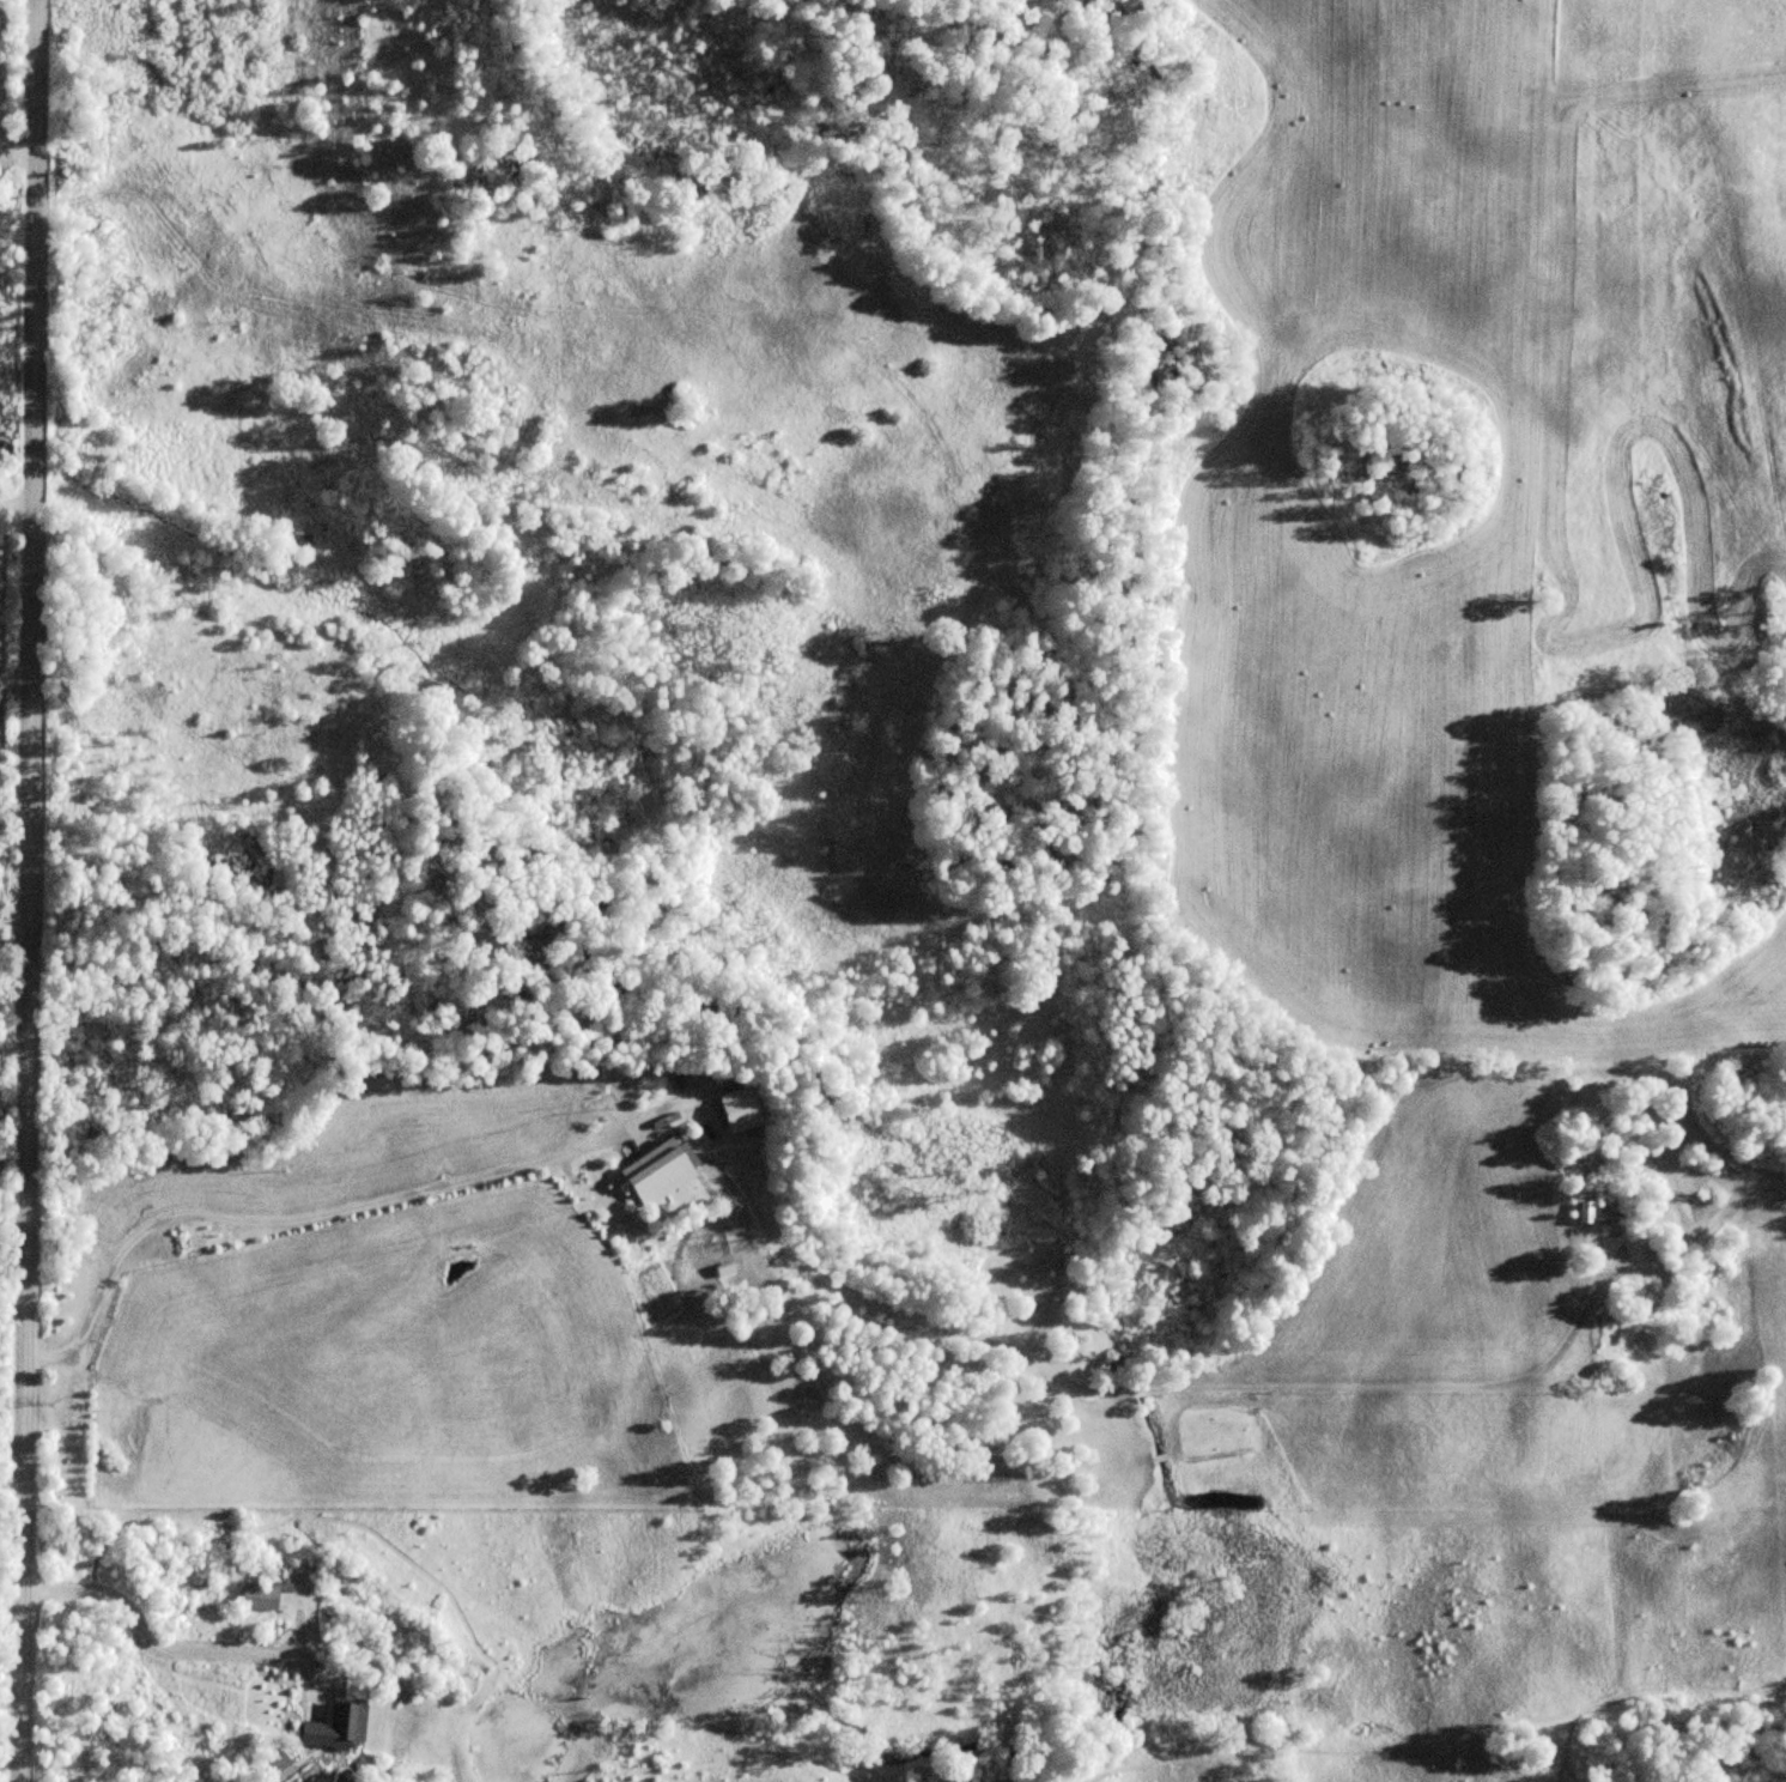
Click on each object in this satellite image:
road: (24, 891)
building: (654, 1169)
building: (974, 1445)
building: (263, 1596)
building: (335, 1728)
building: (278, 1766)

